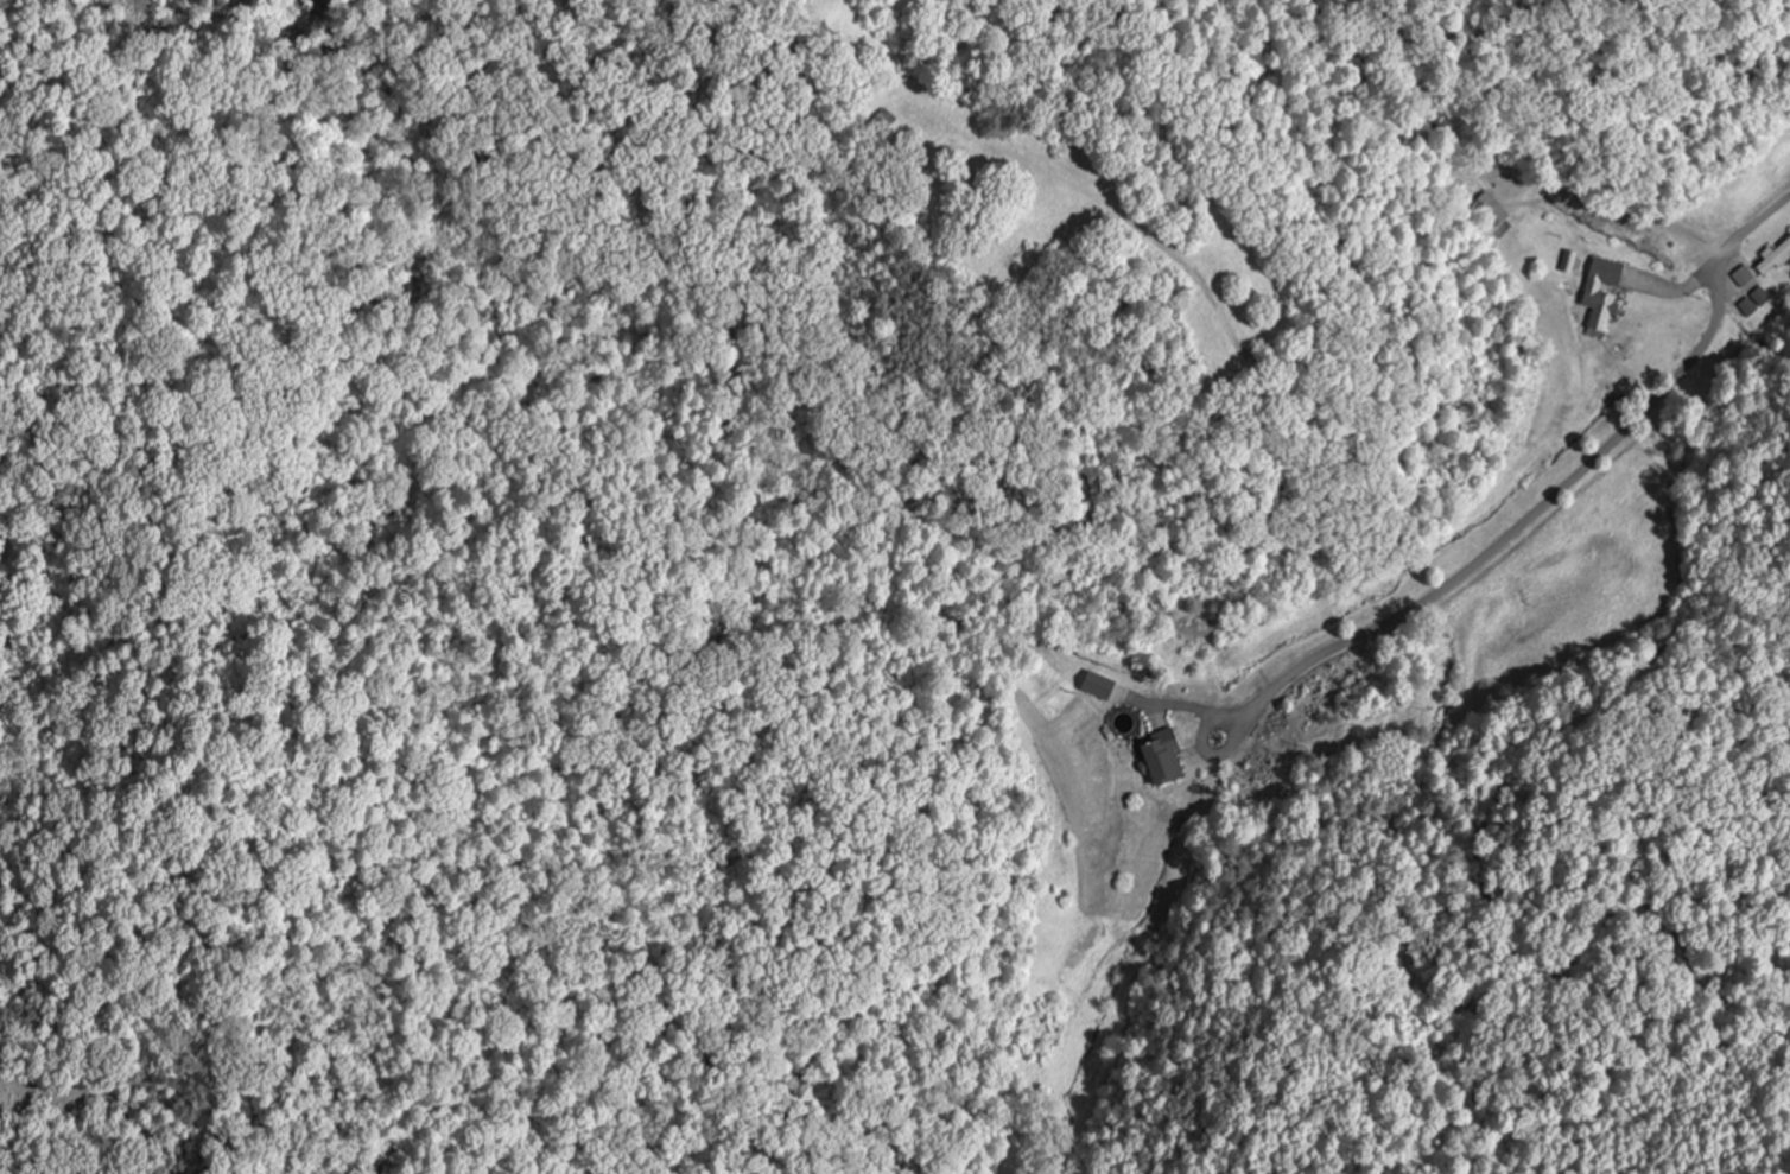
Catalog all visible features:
building: (1741, 275)
building: (1600, 288)
building: (1751, 302)
road: (1564, 484)
road: (1237, 711)
building: (1162, 756)

